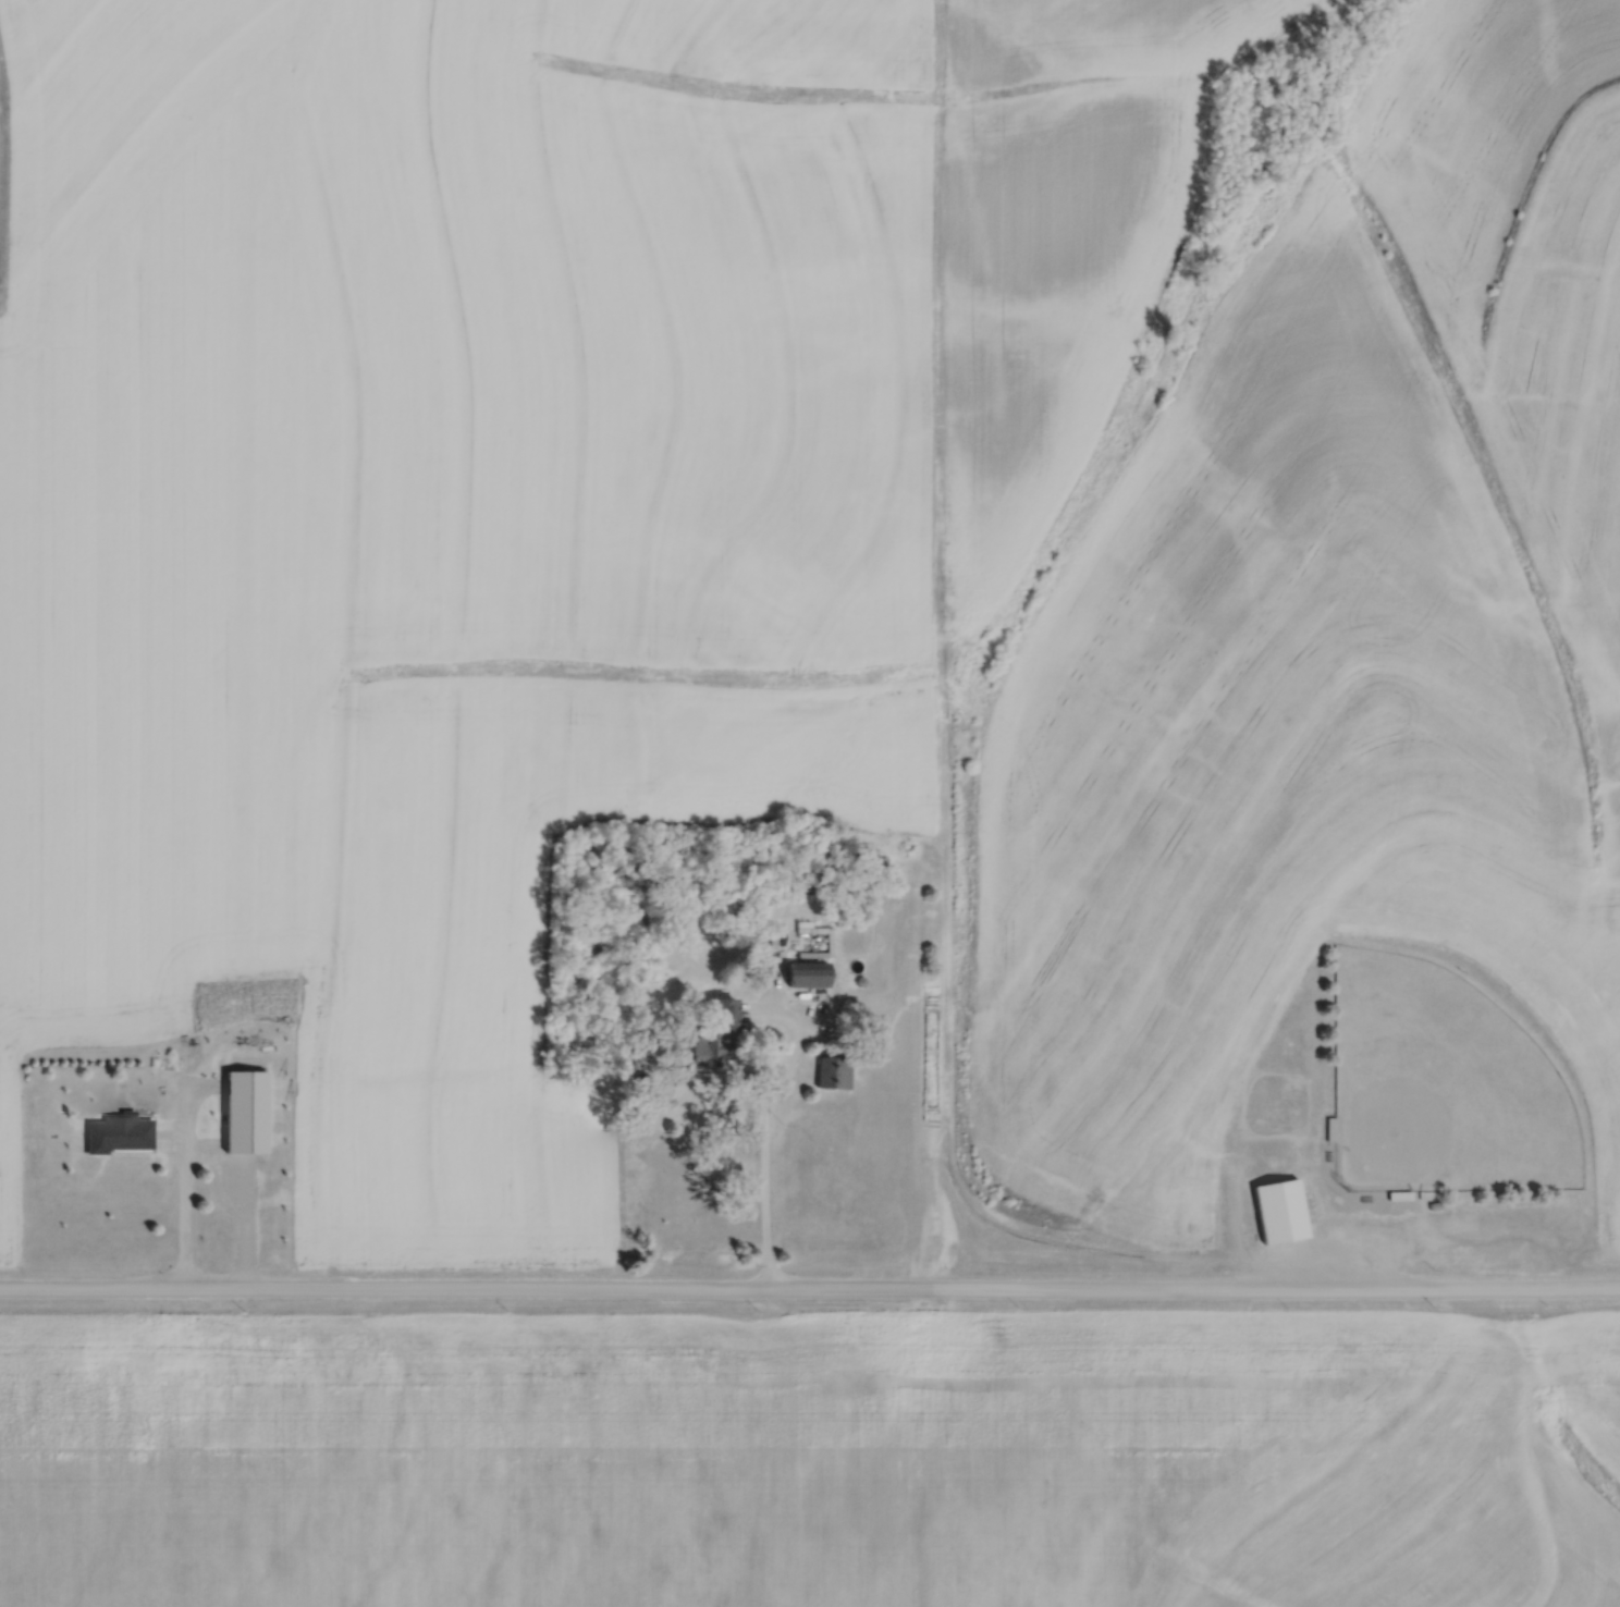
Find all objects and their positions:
crop: (1329, 642)
building: (756, 949)
building: (808, 973)
building: (854, 981)
building: (724, 1015)
road: (794, 1020)
building: (711, 1050)
building: (834, 1072)
park: (1440, 1082)
building: (245, 1127)
building: (1330, 1127)
building: (118, 1130)
road: (204, 1152)
building: (1328, 1153)
building: (1399, 1193)
road: (763, 1194)
building: (1363, 1197)
building: (1435, 1203)
building: (1278, 1207)
road: (809, 1283)
crop: (472, 1450)

